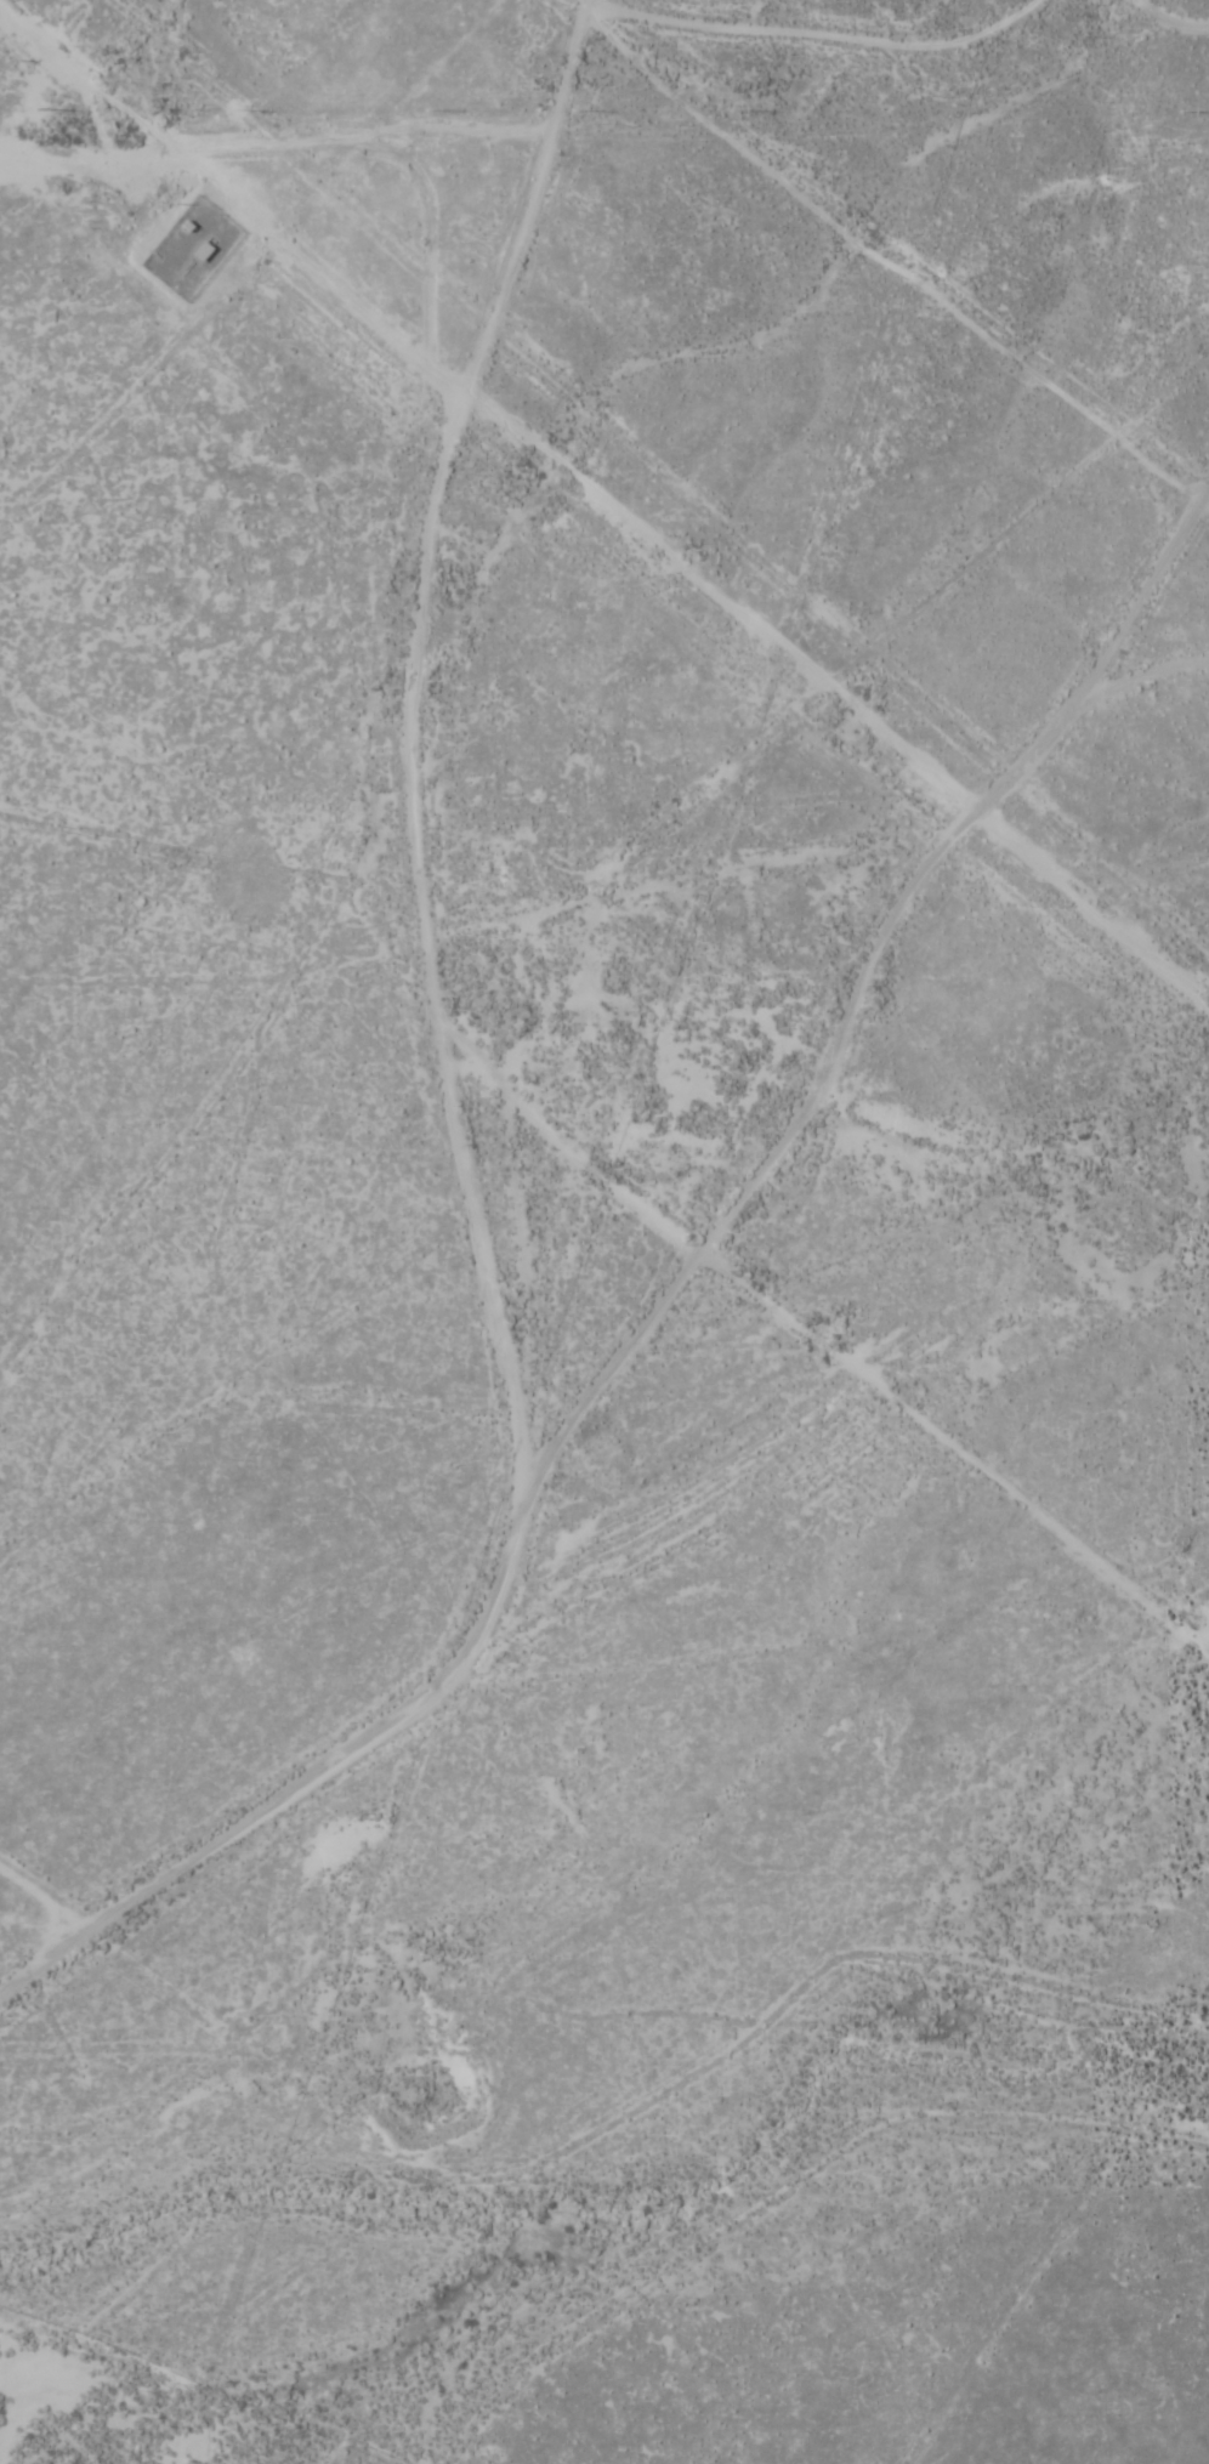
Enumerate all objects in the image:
road: (590, 16)
road: (831, 93)
building: (195, 252)
road: (923, 352)
road: (1150, 709)
road: (872, 1012)
road: (438, 1143)

